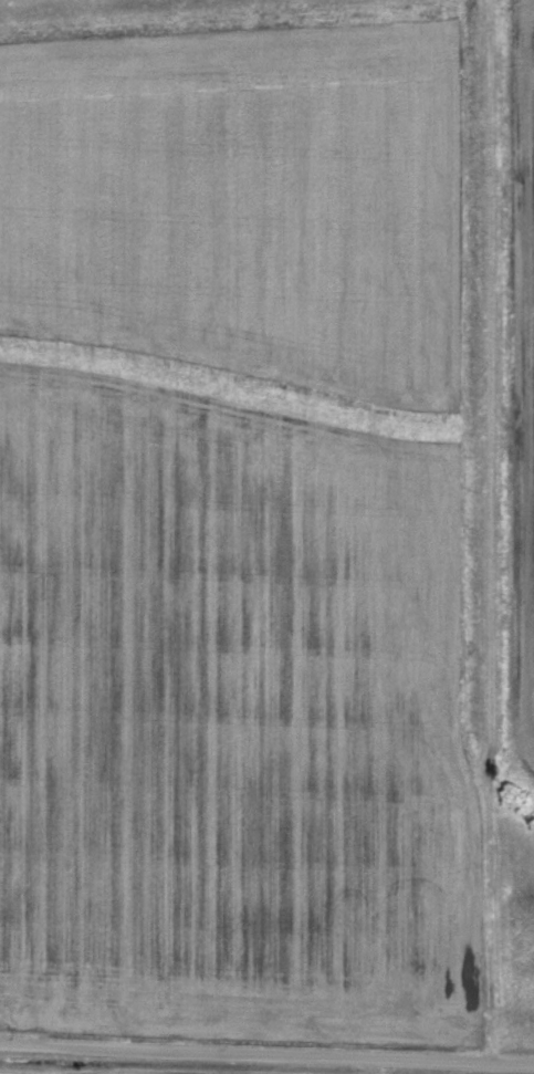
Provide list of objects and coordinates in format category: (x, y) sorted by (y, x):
road: (266, 1054)

